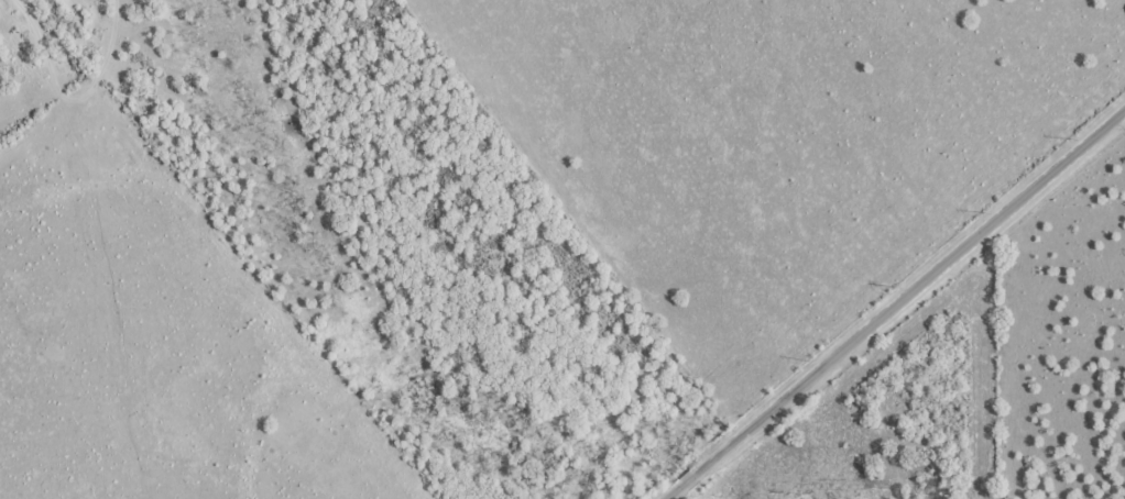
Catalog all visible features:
road: (892, 303)

